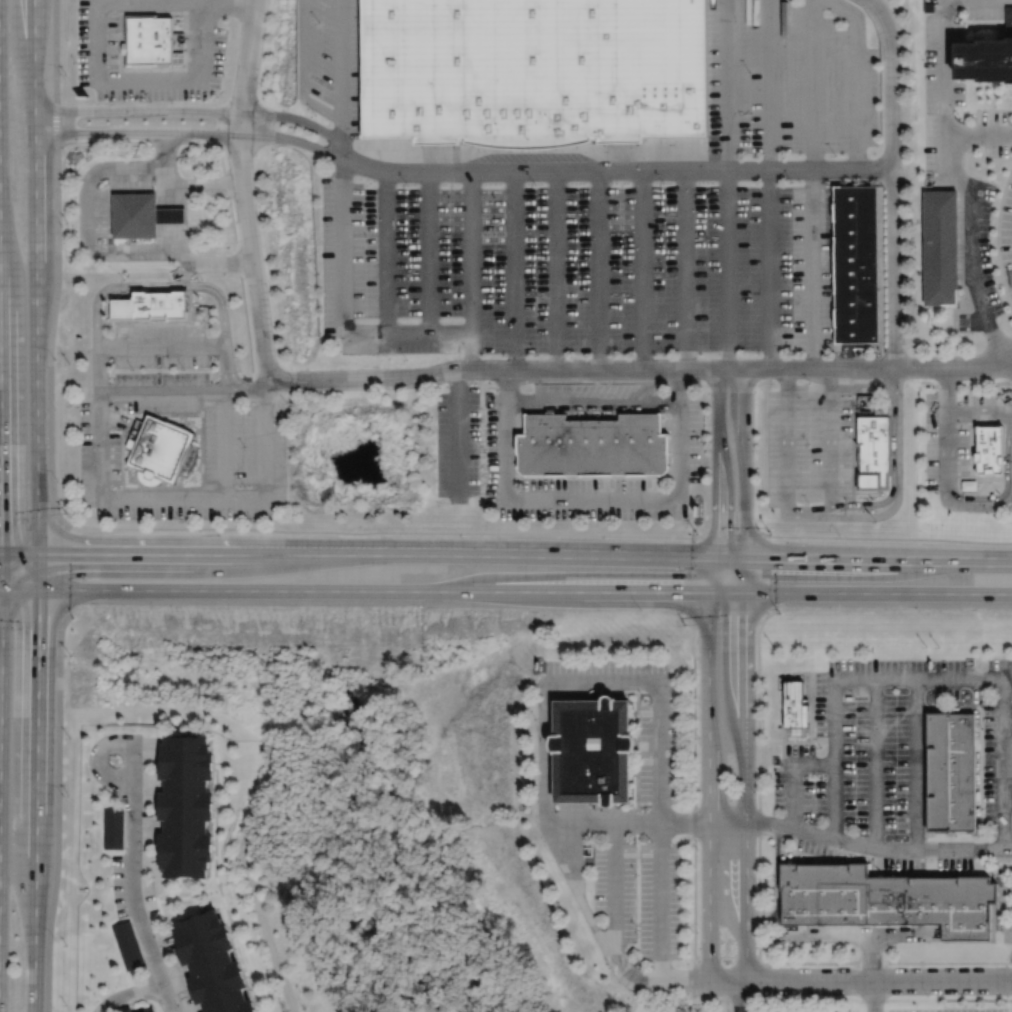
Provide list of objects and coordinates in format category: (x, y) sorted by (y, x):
building: (152, 39)
road: (94, 46)
road: (55, 51)
building: (986, 53)
parking lot: (331, 61)
road: (302, 71)
building: (533, 71)
road: (855, 78)
parking lot: (787, 79)
road: (342, 80)
road: (813, 84)
road: (728, 85)
road: (770, 85)
road: (945, 96)
road: (132, 112)
road: (57, 123)
road: (318, 130)
road: (126, 134)
road: (314, 148)
road: (639, 171)
road: (181, 180)
road: (224, 181)
road: (893, 182)
road: (243, 191)
building: (138, 214)
building: (175, 214)
road: (172, 217)
parking lot: (1007, 236)
road: (998, 237)
road: (971, 242)
building: (939, 246)
road: (96, 251)
road: (386, 252)
road: (427, 252)
building: (854, 263)
parking lot: (575, 266)
road: (727, 268)
road: (813, 268)
road: (687, 269)
road: (771, 269)
road: (471, 270)
road: (514, 270)
road: (556, 270)
road: (597, 270)
road: (641, 270)
road: (156, 286)
building: (153, 304)
road: (343, 312)
road: (51, 337)
road: (160, 347)
road: (1010, 357)
road: (1010, 359)
road: (1010, 364)
road: (808, 368)
road: (952, 368)
road: (494, 369)
road: (965, 385)
road: (185, 390)
road: (592, 399)
road: (978, 411)
parking lot: (245, 422)
road: (946, 430)
road: (455, 432)
parking lot: (951, 433)
road: (787, 437)
road: (829, 438)
parking lot: (457, 441)
road: (223, 443)
parking lot: (806, 446)
building: (597, 447)
building: (157, 450)
building: (988, 450)
building: (872, 451)
parking lot: (589, 452)
road: (745, 462)
road: (721, 480)
road: (1007, 484)
building: (969, 485)
road: (894, 487)
road: (181, 496)
road: (592, 497)
road: (2, 501)
road: (978, 505)
road: (37, 506)
road: (857, 516)
traffic signals: (2, 519)
road: (32, 530)
road: (382, 532)
road: (857, 537)
road: (621, 554)
traffic signals: (71, 555)
road: (115, 555)
traffic signals: (717, 557)
traffic signals: (746, 557)
road: (62, 571)
road: (768, 574)
road: (692, 576)
road: (505, 591)
traffic signals: (712, 593)
traffic signals: (746, 593)
road: (30, 614)
road: (725, 616)
traffic signals: (37, 628)
road: (842, 679)
road: (552, 682)
road: (577, 691)
road: (805, 698)
building: (793, 707)
road: (545, 714)
road: (811, 720)
parking lot: (893, 741)
parking lot: (658, 743)
building: (591, 750)
road: (874, 763)
road: (916, 763)
road: (1002, 764)
road: (746, 769)
building: (948, 769)
road: (793, 775)
road: (709, 786)
road: (545, 787)
building: (185, 806)
road: (726, 809)
road: (578, 812)
road: (60, 814)
road: (643, 822)
building: (112, 828)
road: (727, 835)
road: (962, 837)
road: (930, 847)
road: (877, 848)
parking lot: (897, 849)
road: (930, 865)
road: (899, 873)
road: (776, 883)
road: (132, 885)
parking lot: (641, 894)
road: (615, 897)
building: (884, 898)
road: (759, 911)
road: (854, 933)
road: (896, 933)
building: (127, 945)
road: (1010, 956)
building: (210, 963)
road: (694, 965)
road: (860, 981)
road: (128, 994)
road: (738, 996)
road: (874, 996)
building: (145, 1009)
parking lot: (952, 1009)
building: (126, 1010)
parking lot: (738, 1011)

